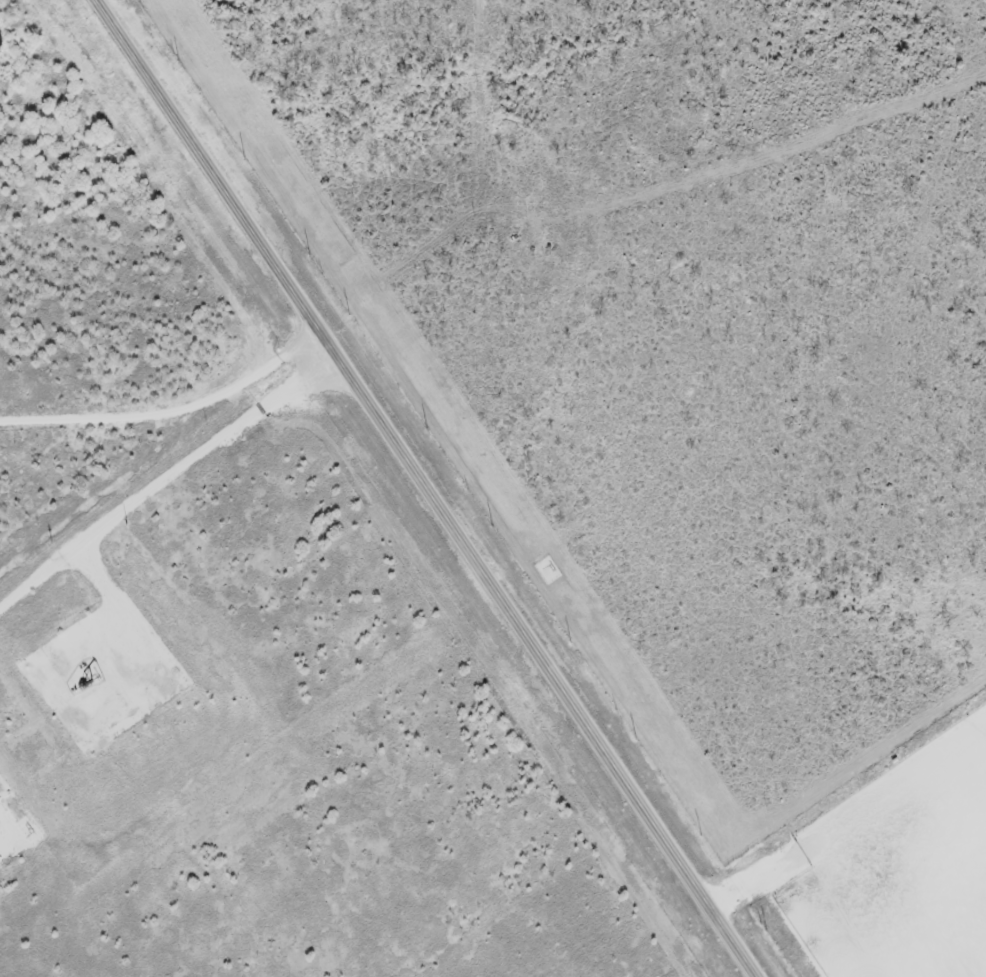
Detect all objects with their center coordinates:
road: (168, 406)
road: (165, 480)
road: (427, 489)
road: (142, 652)

